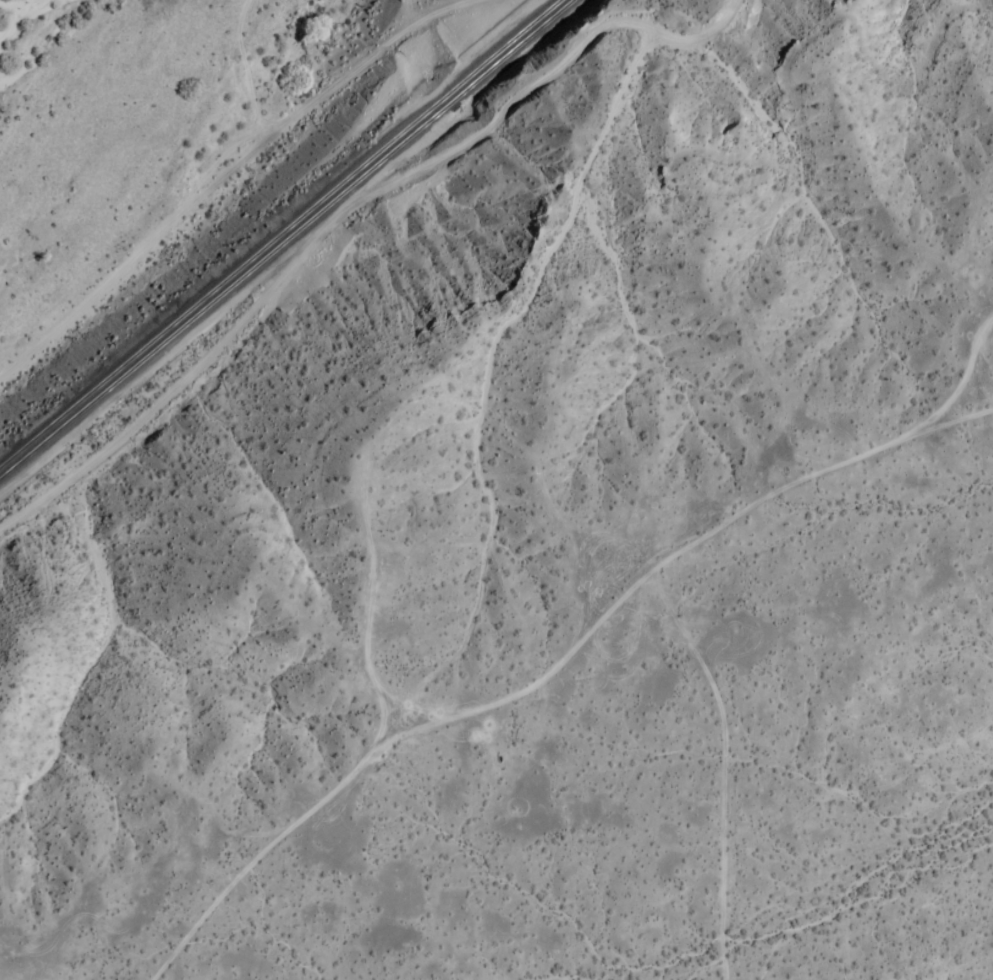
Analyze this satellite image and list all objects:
road: (229, 179)
railway: (279, 233)
railway: (286, 238)

